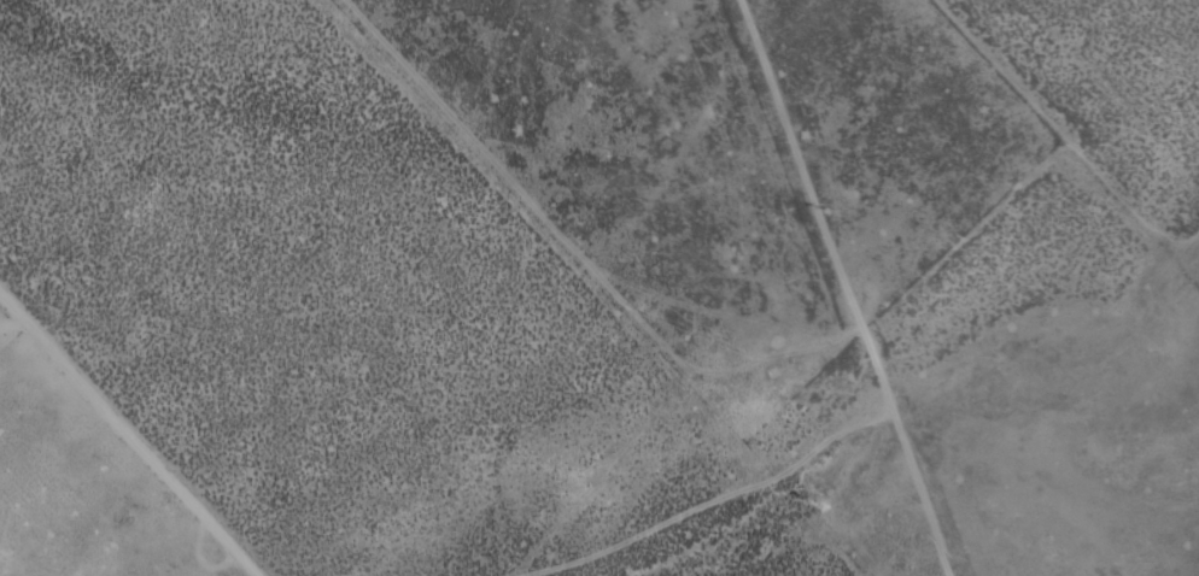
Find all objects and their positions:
road: (131, 434)

